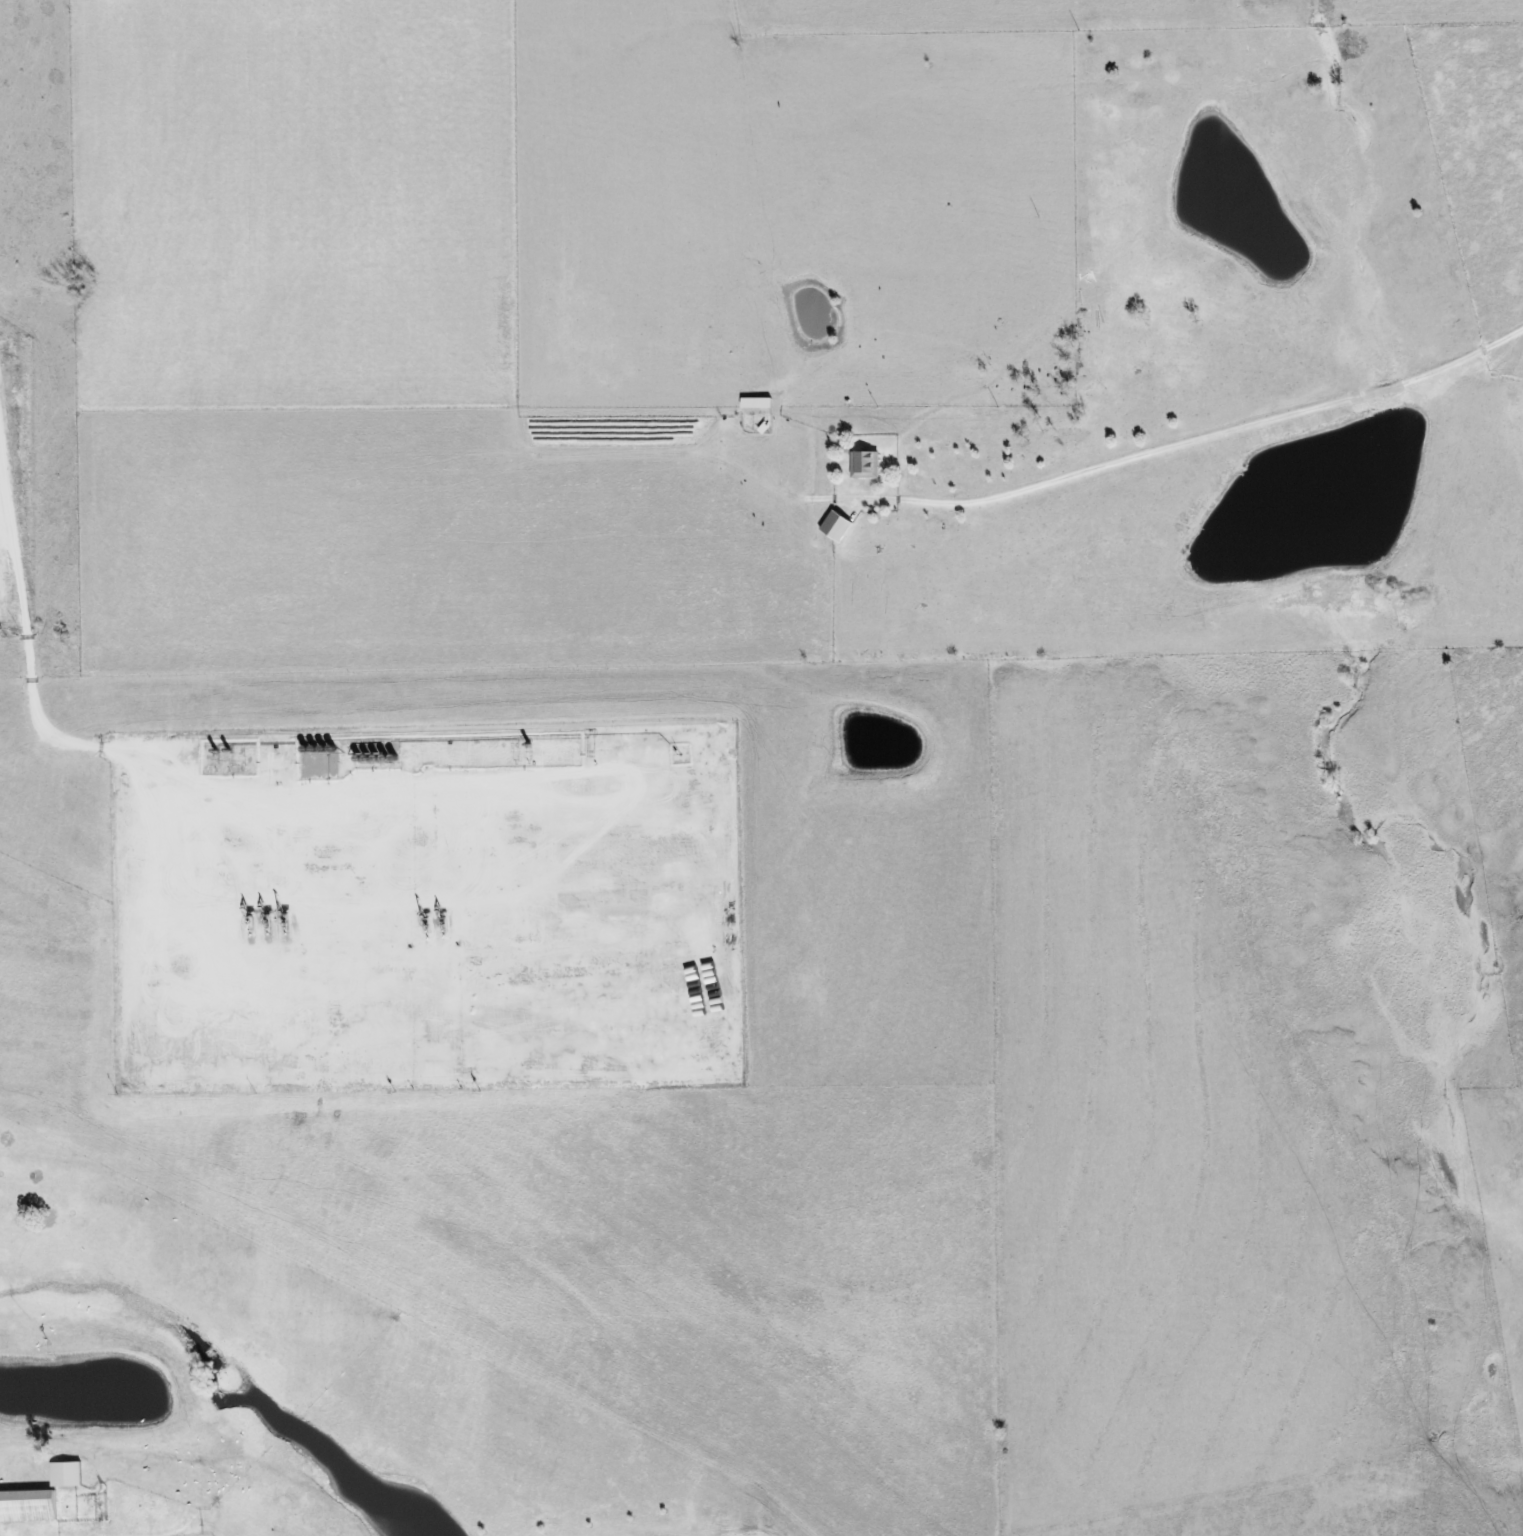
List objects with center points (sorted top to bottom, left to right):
building: (755, 403)
road: (1197, 436)
building: (864, 465)
building: (835, 527)
road: (82, 1446)
building: (65, 1474)
building: (27, 1506)

